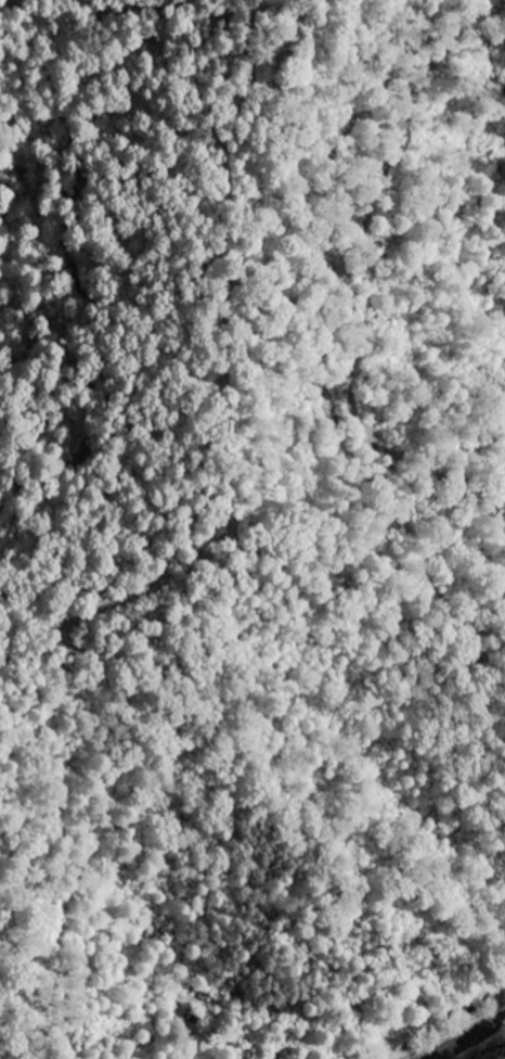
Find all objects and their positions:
road: (426, 1025)

